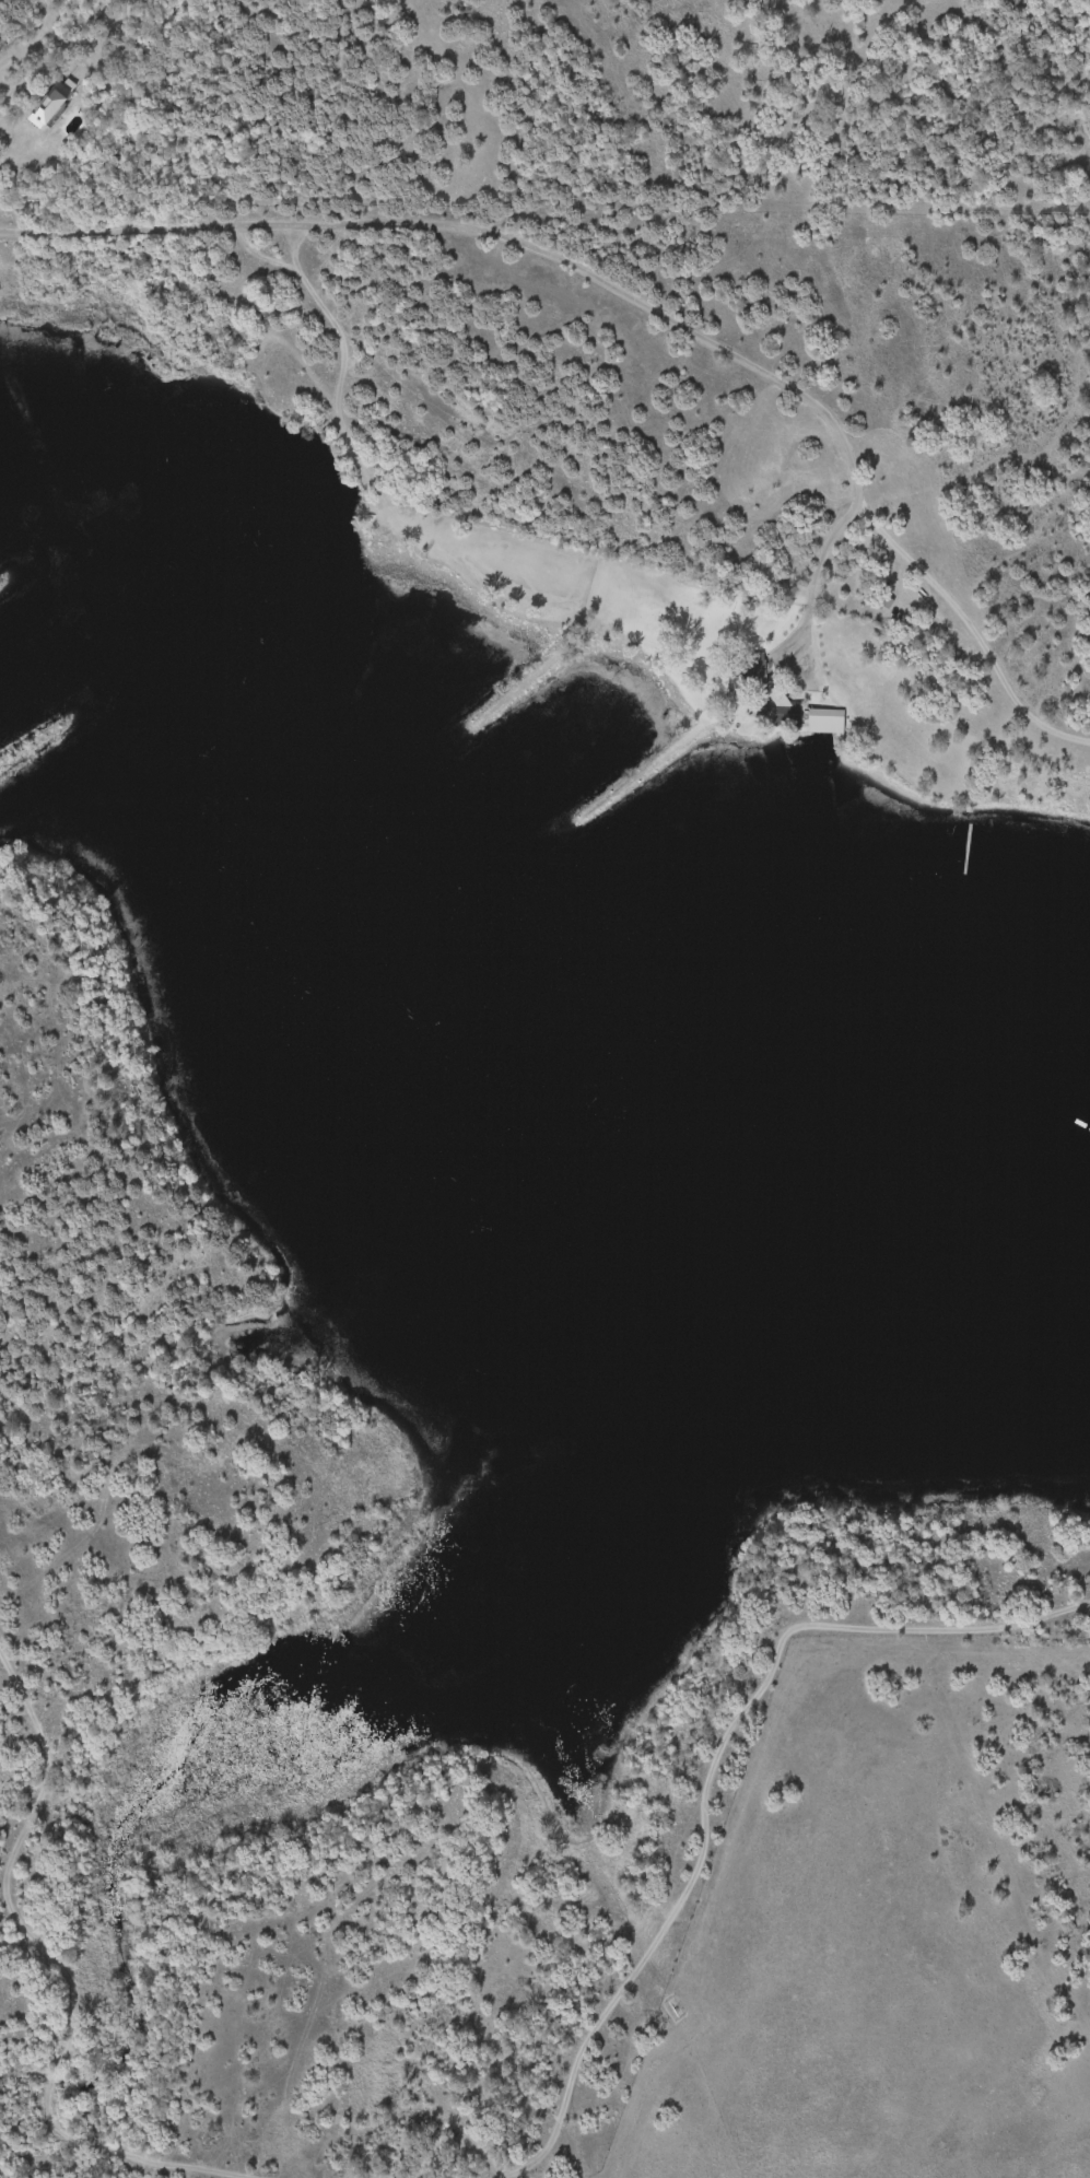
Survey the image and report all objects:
road: (34, 15)
building: (54, 106)
road: (398, 224)
road: (846, 483)
building: (830, 719)

